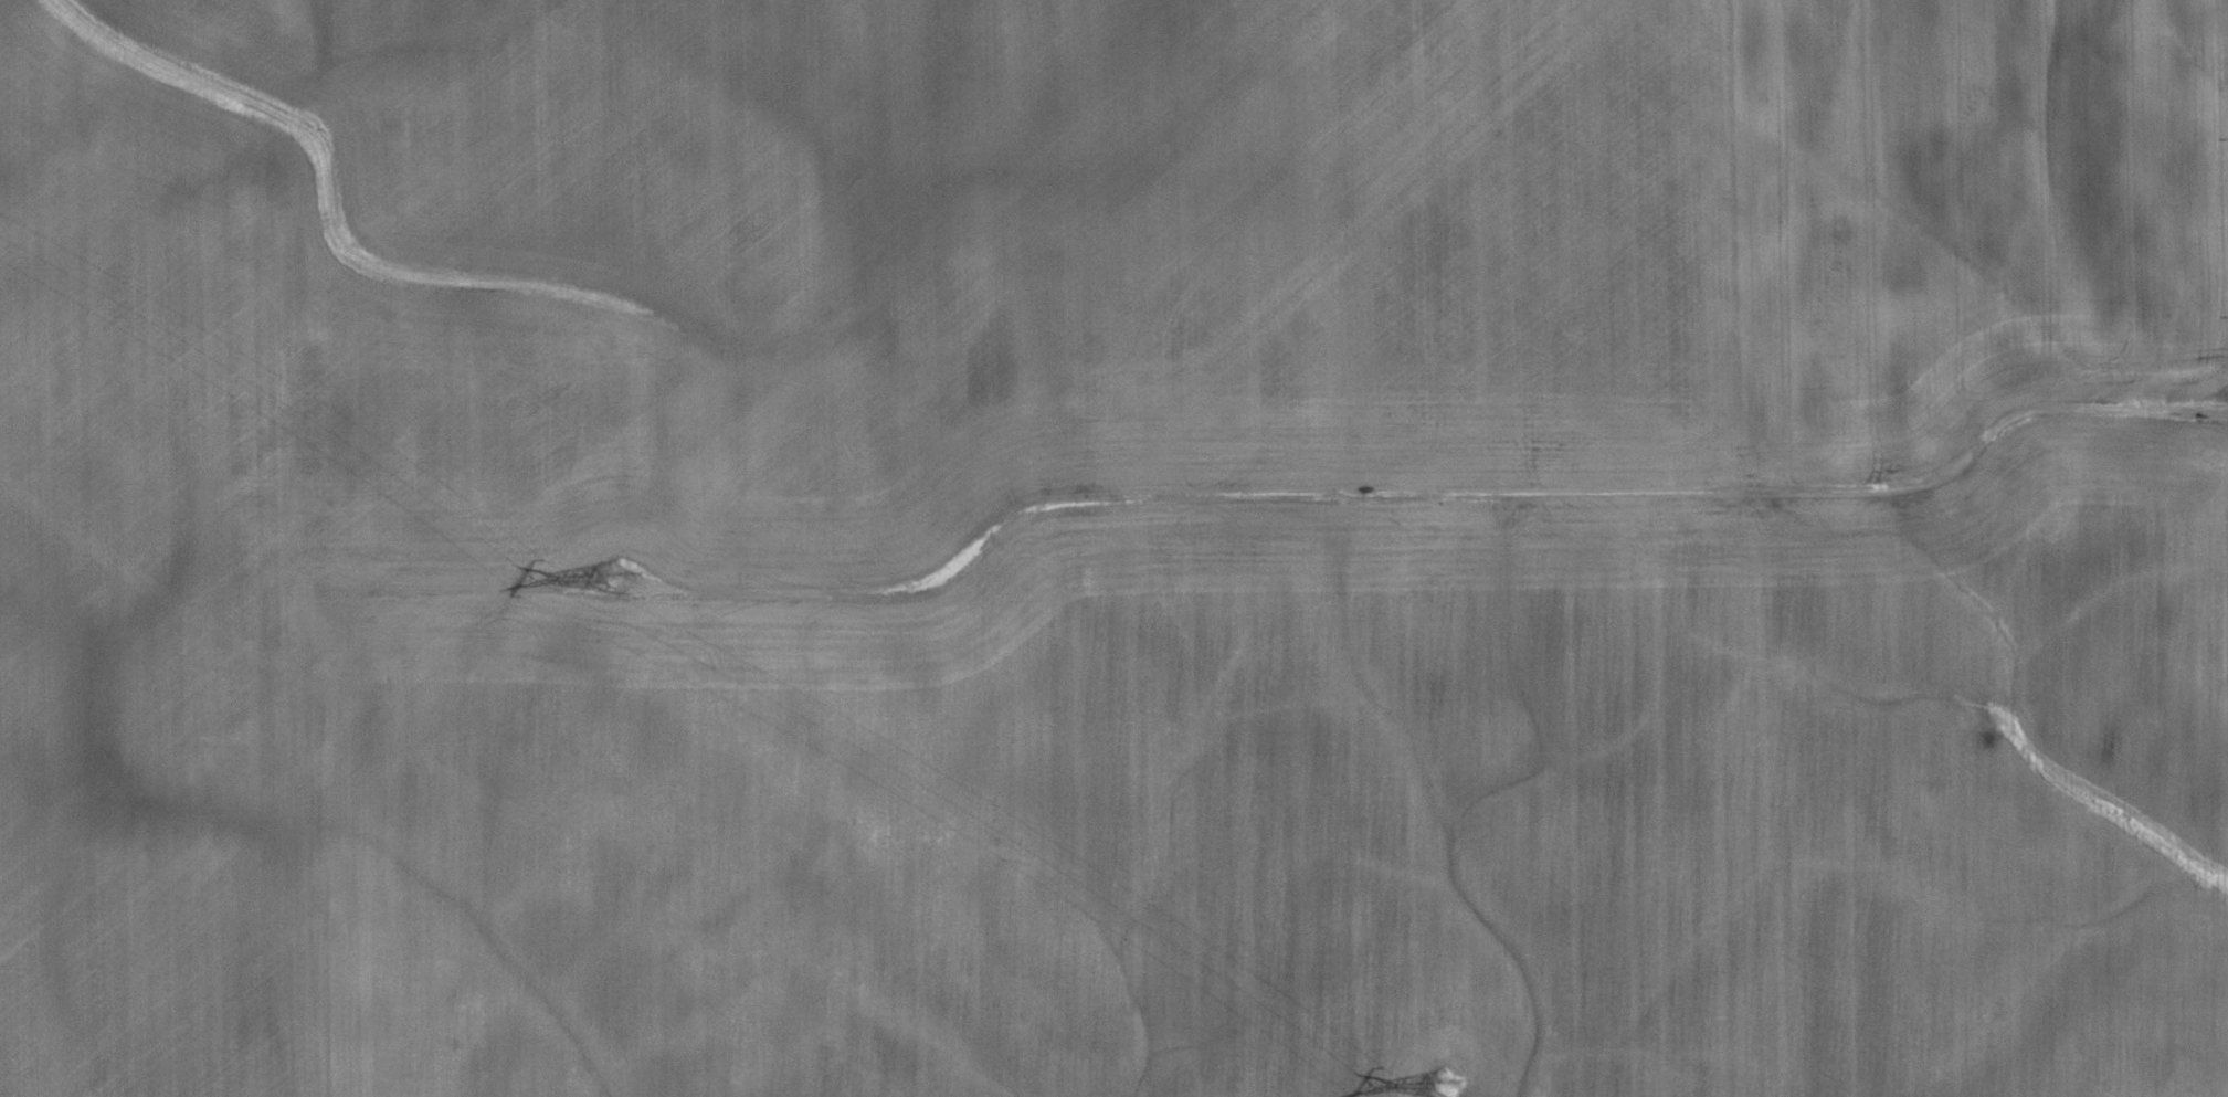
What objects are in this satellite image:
power tower: (624, 577)
power tower: (1453, 1084)

